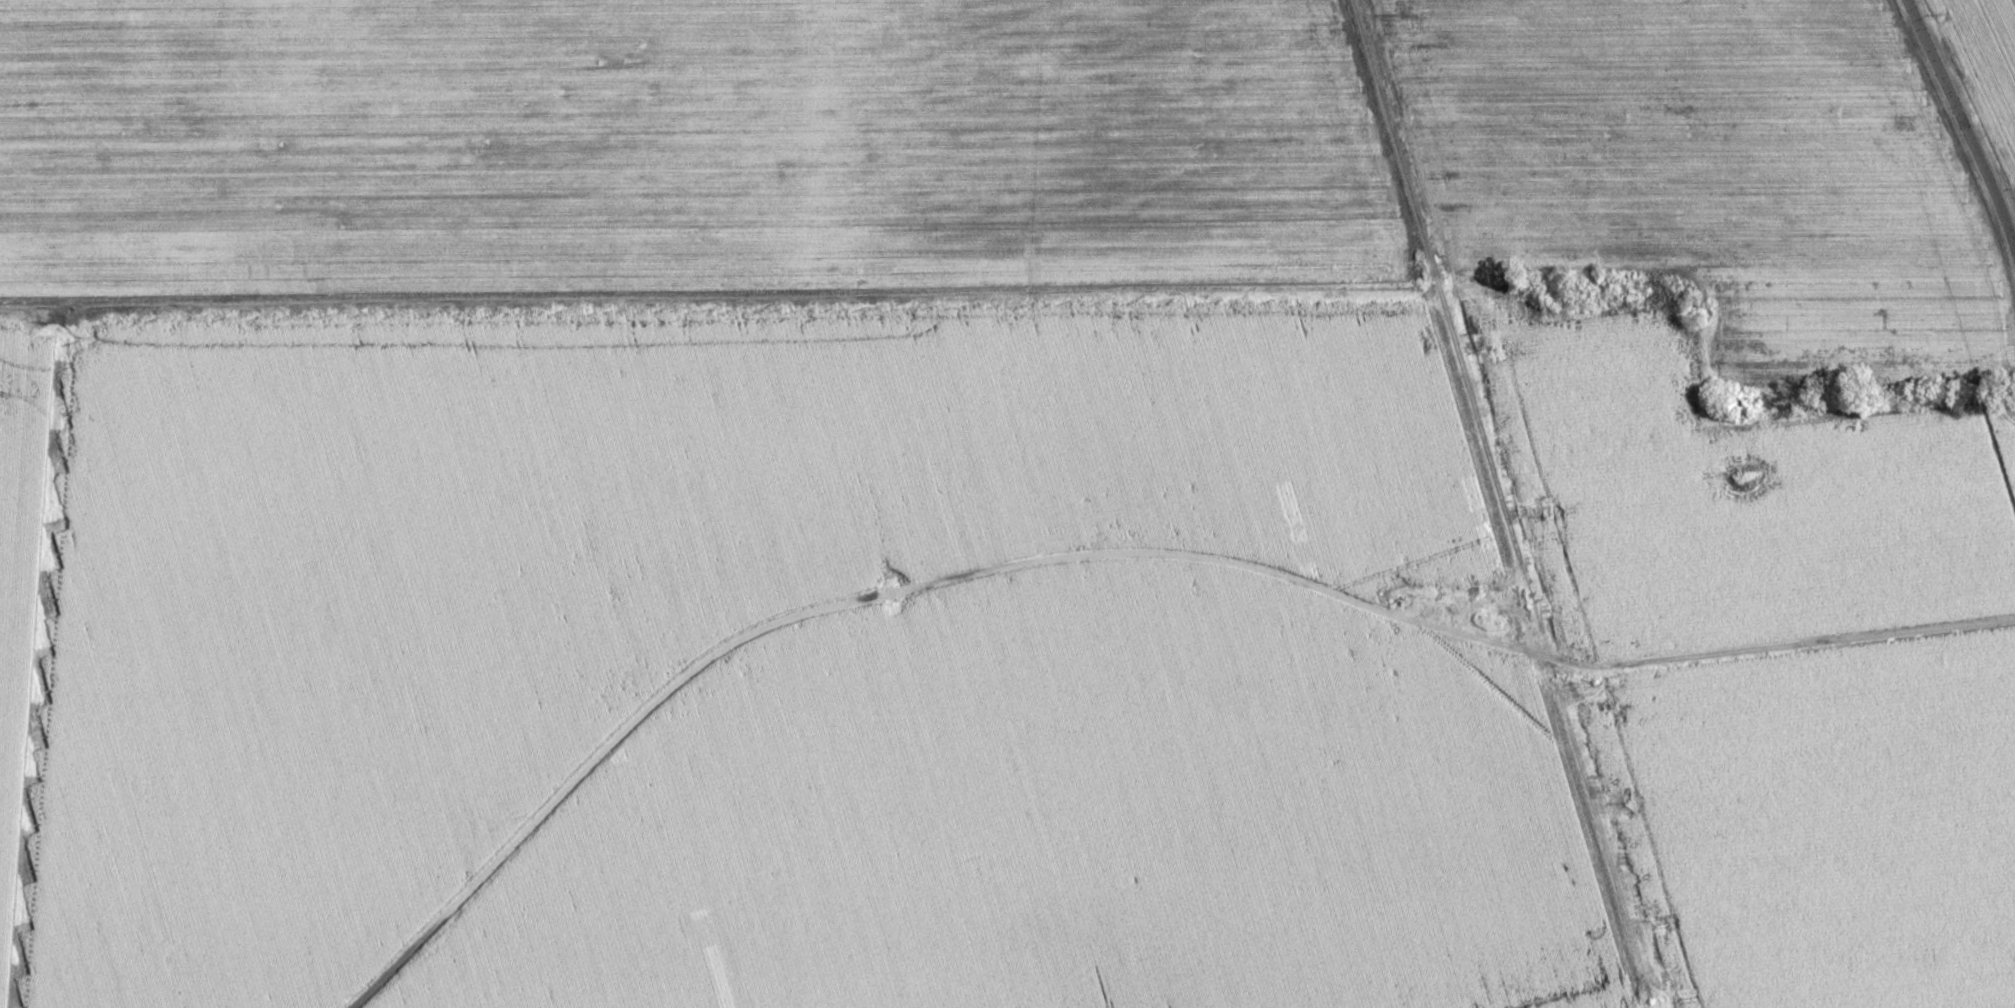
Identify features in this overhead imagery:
road: (1961, 123)
road: (702, 294)
road: (1120, 556)

